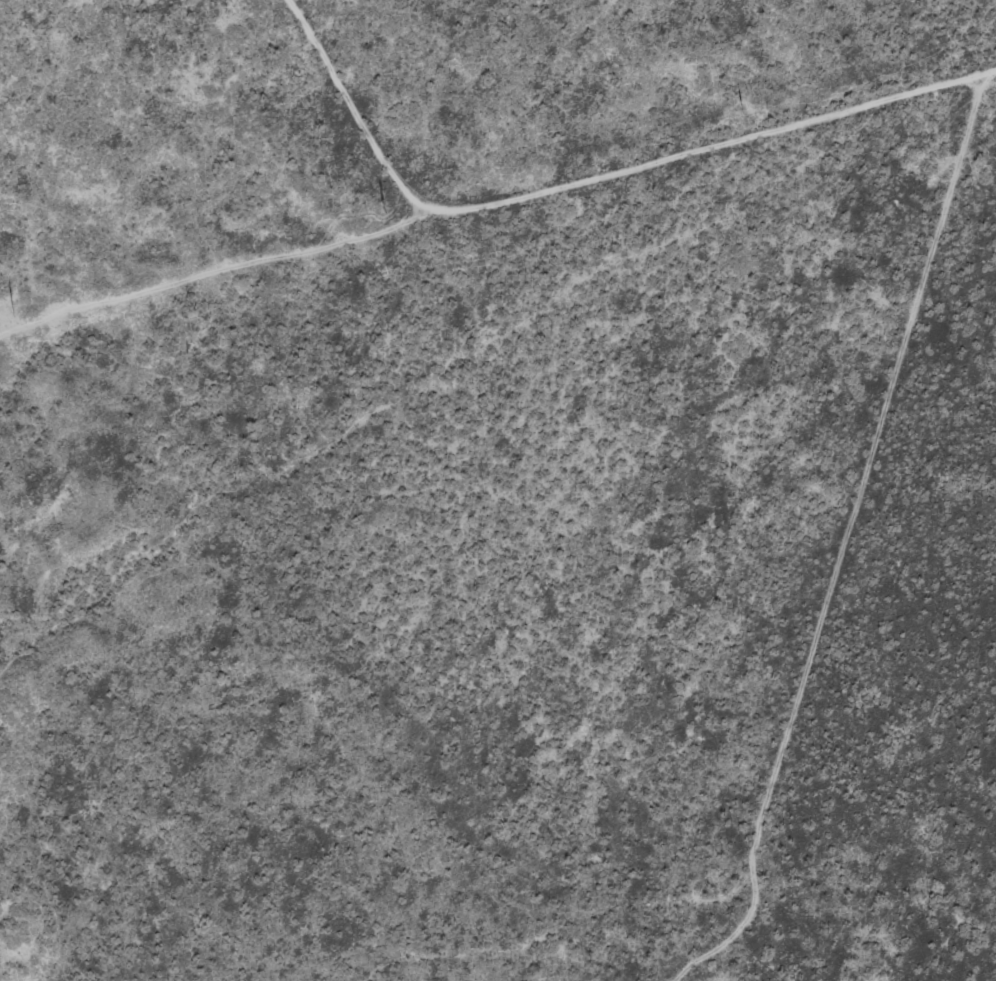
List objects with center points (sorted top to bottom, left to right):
power tower: (740, 109)
power tower: (382, 207)
power tower: (11, 309)

